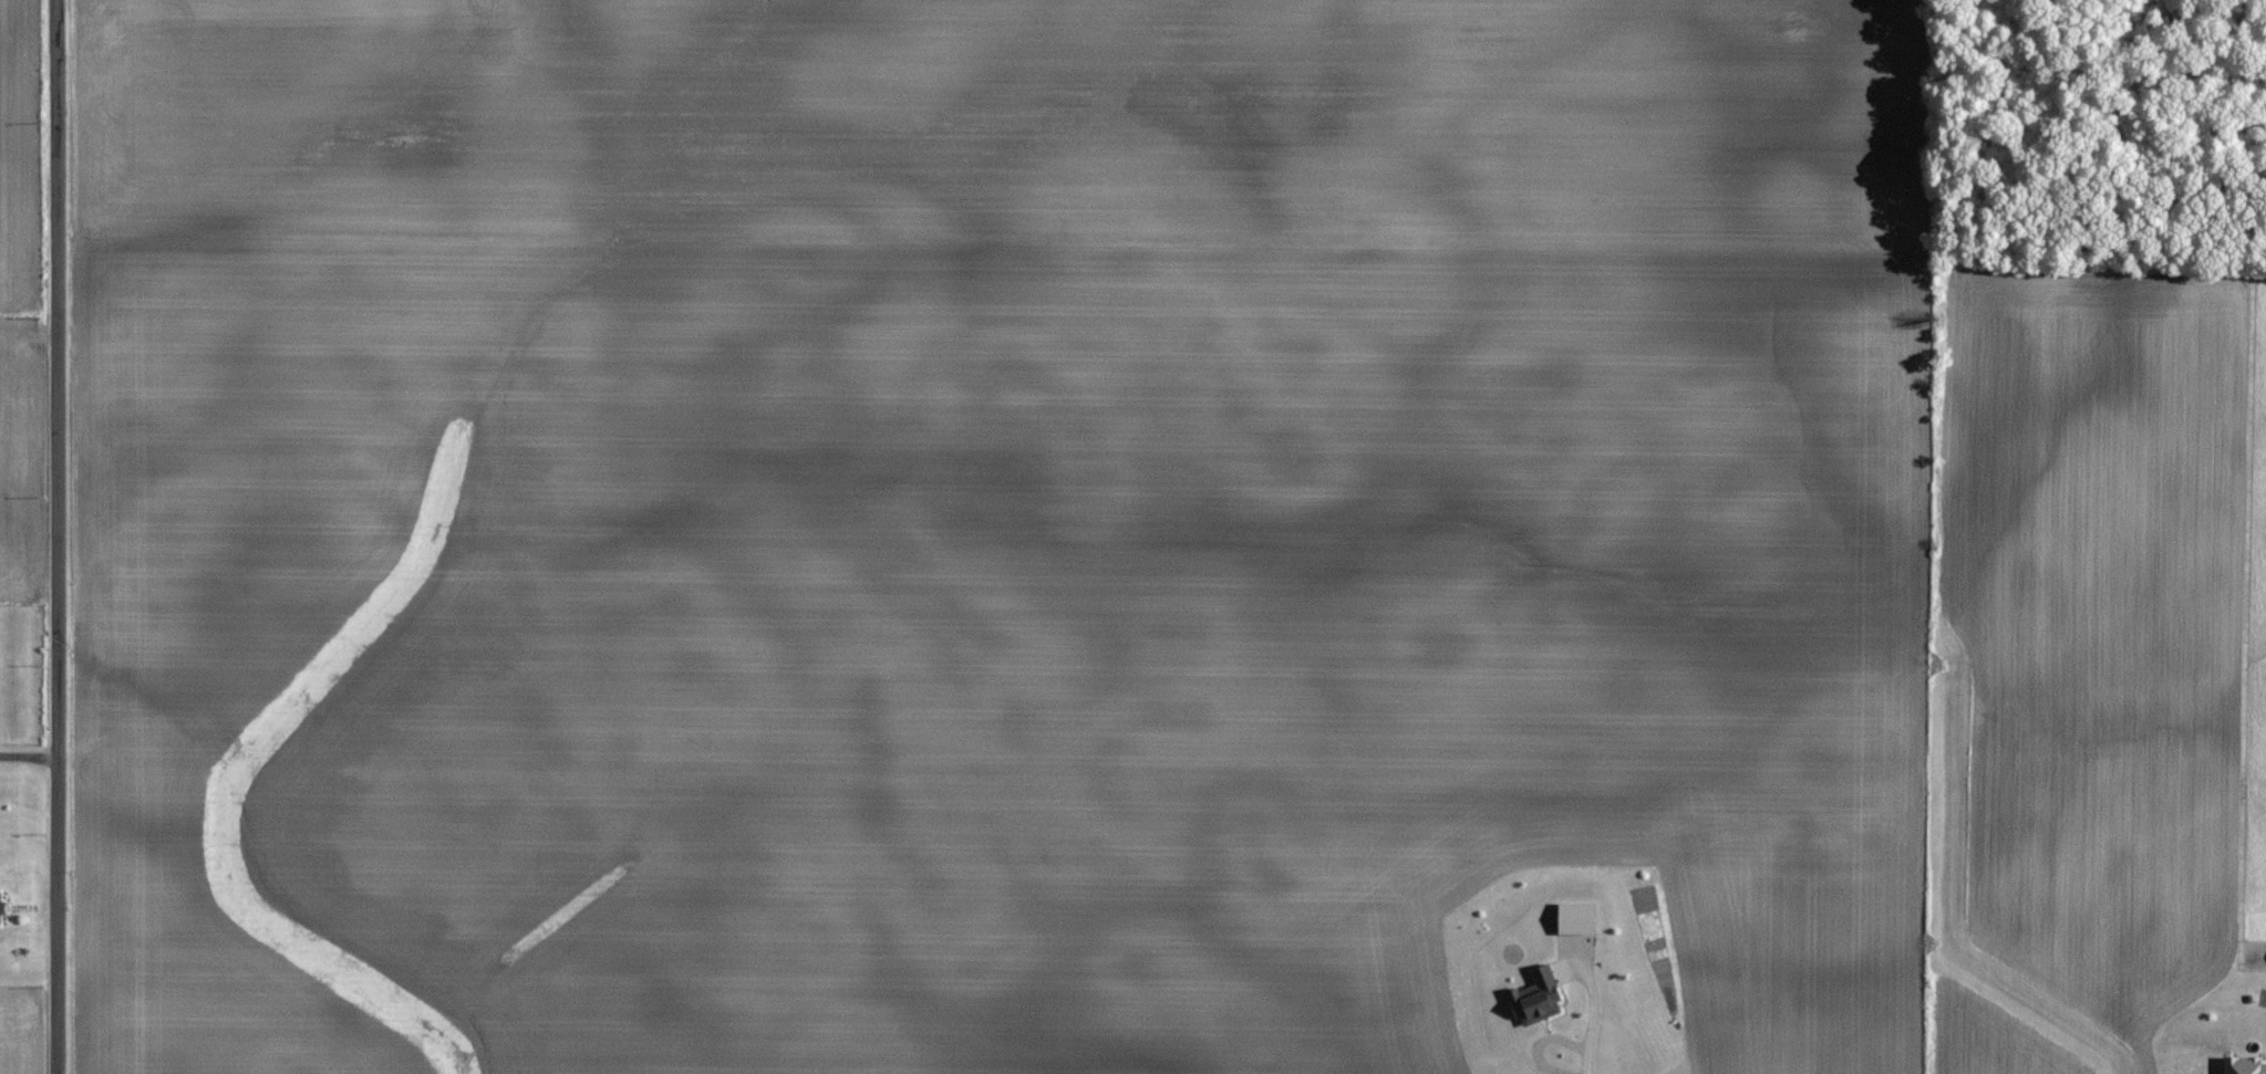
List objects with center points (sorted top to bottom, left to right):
road: (58, 536)
road: (29, 742)
building: (1536, 994)
road: (1549, 1036)
building: (2243, 1063)

